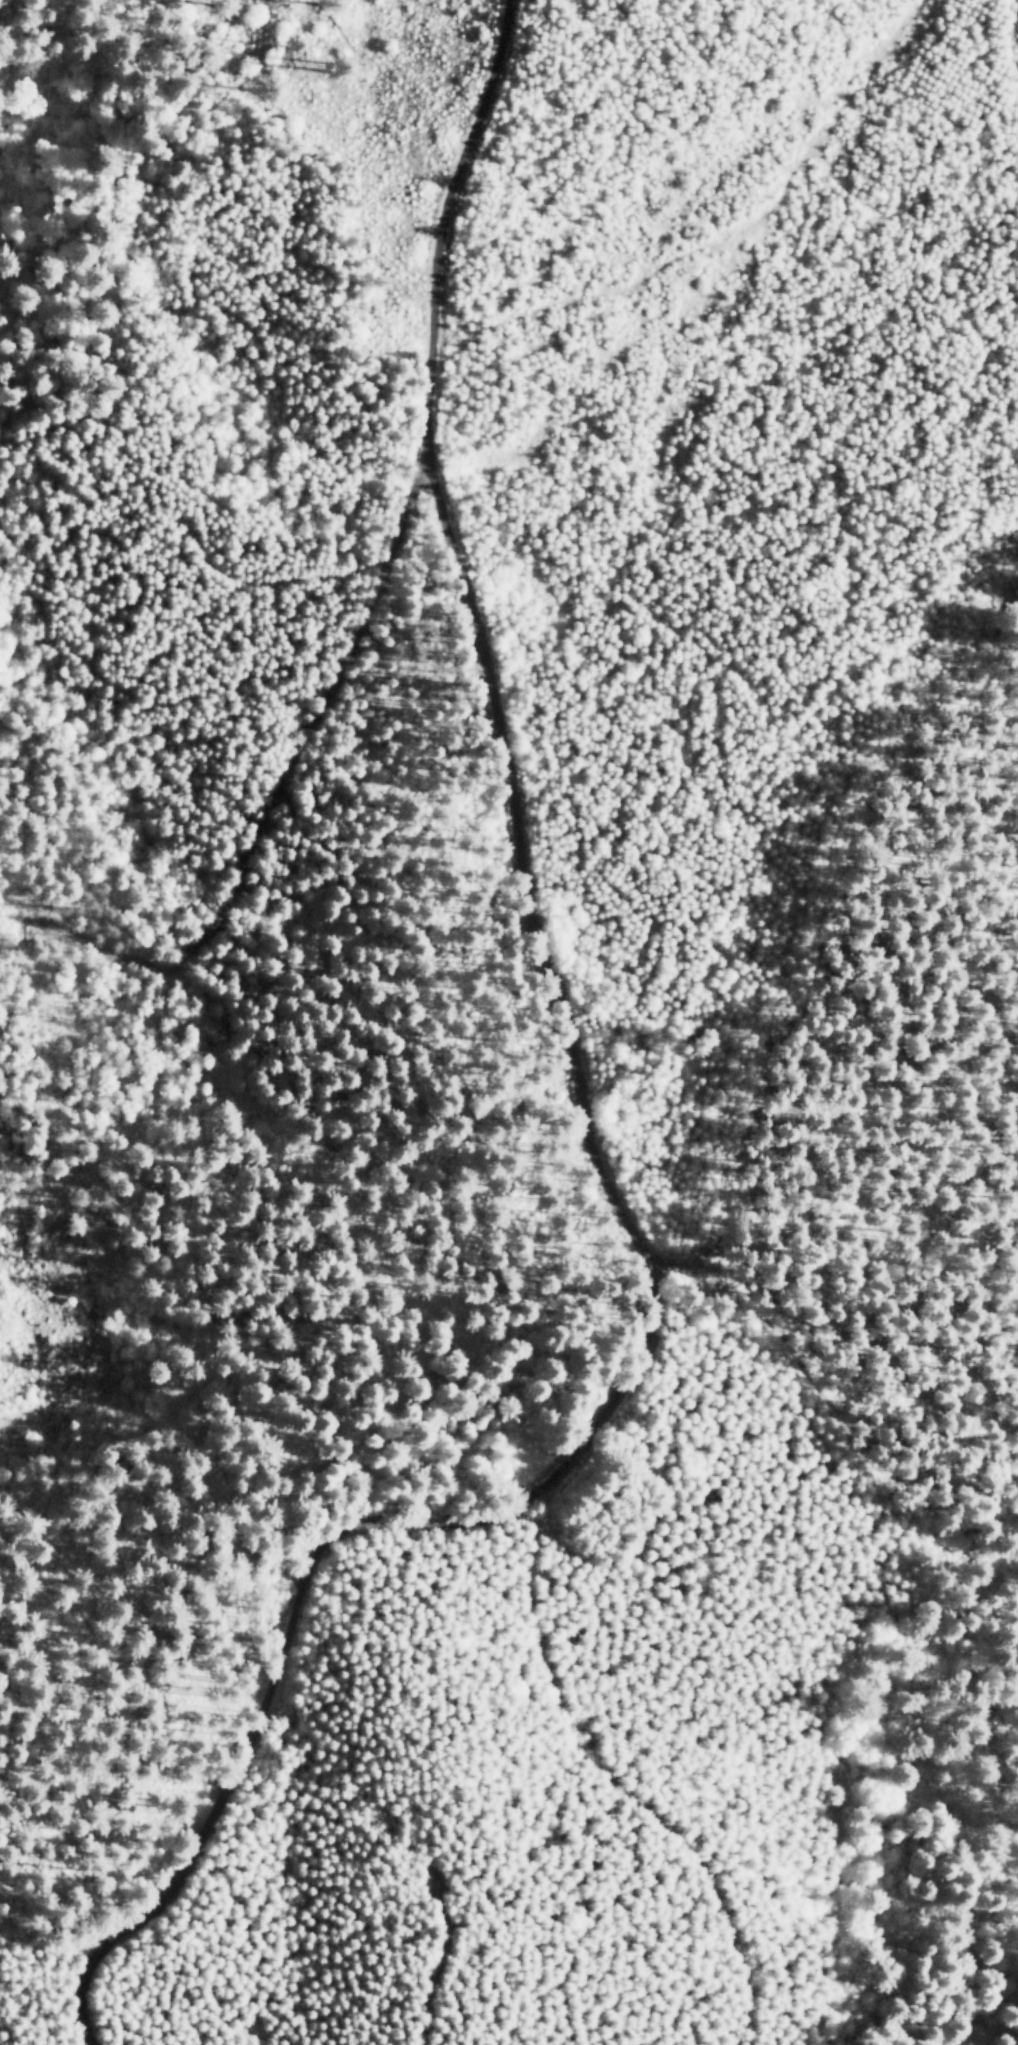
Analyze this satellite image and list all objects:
road: (609, 1169)

